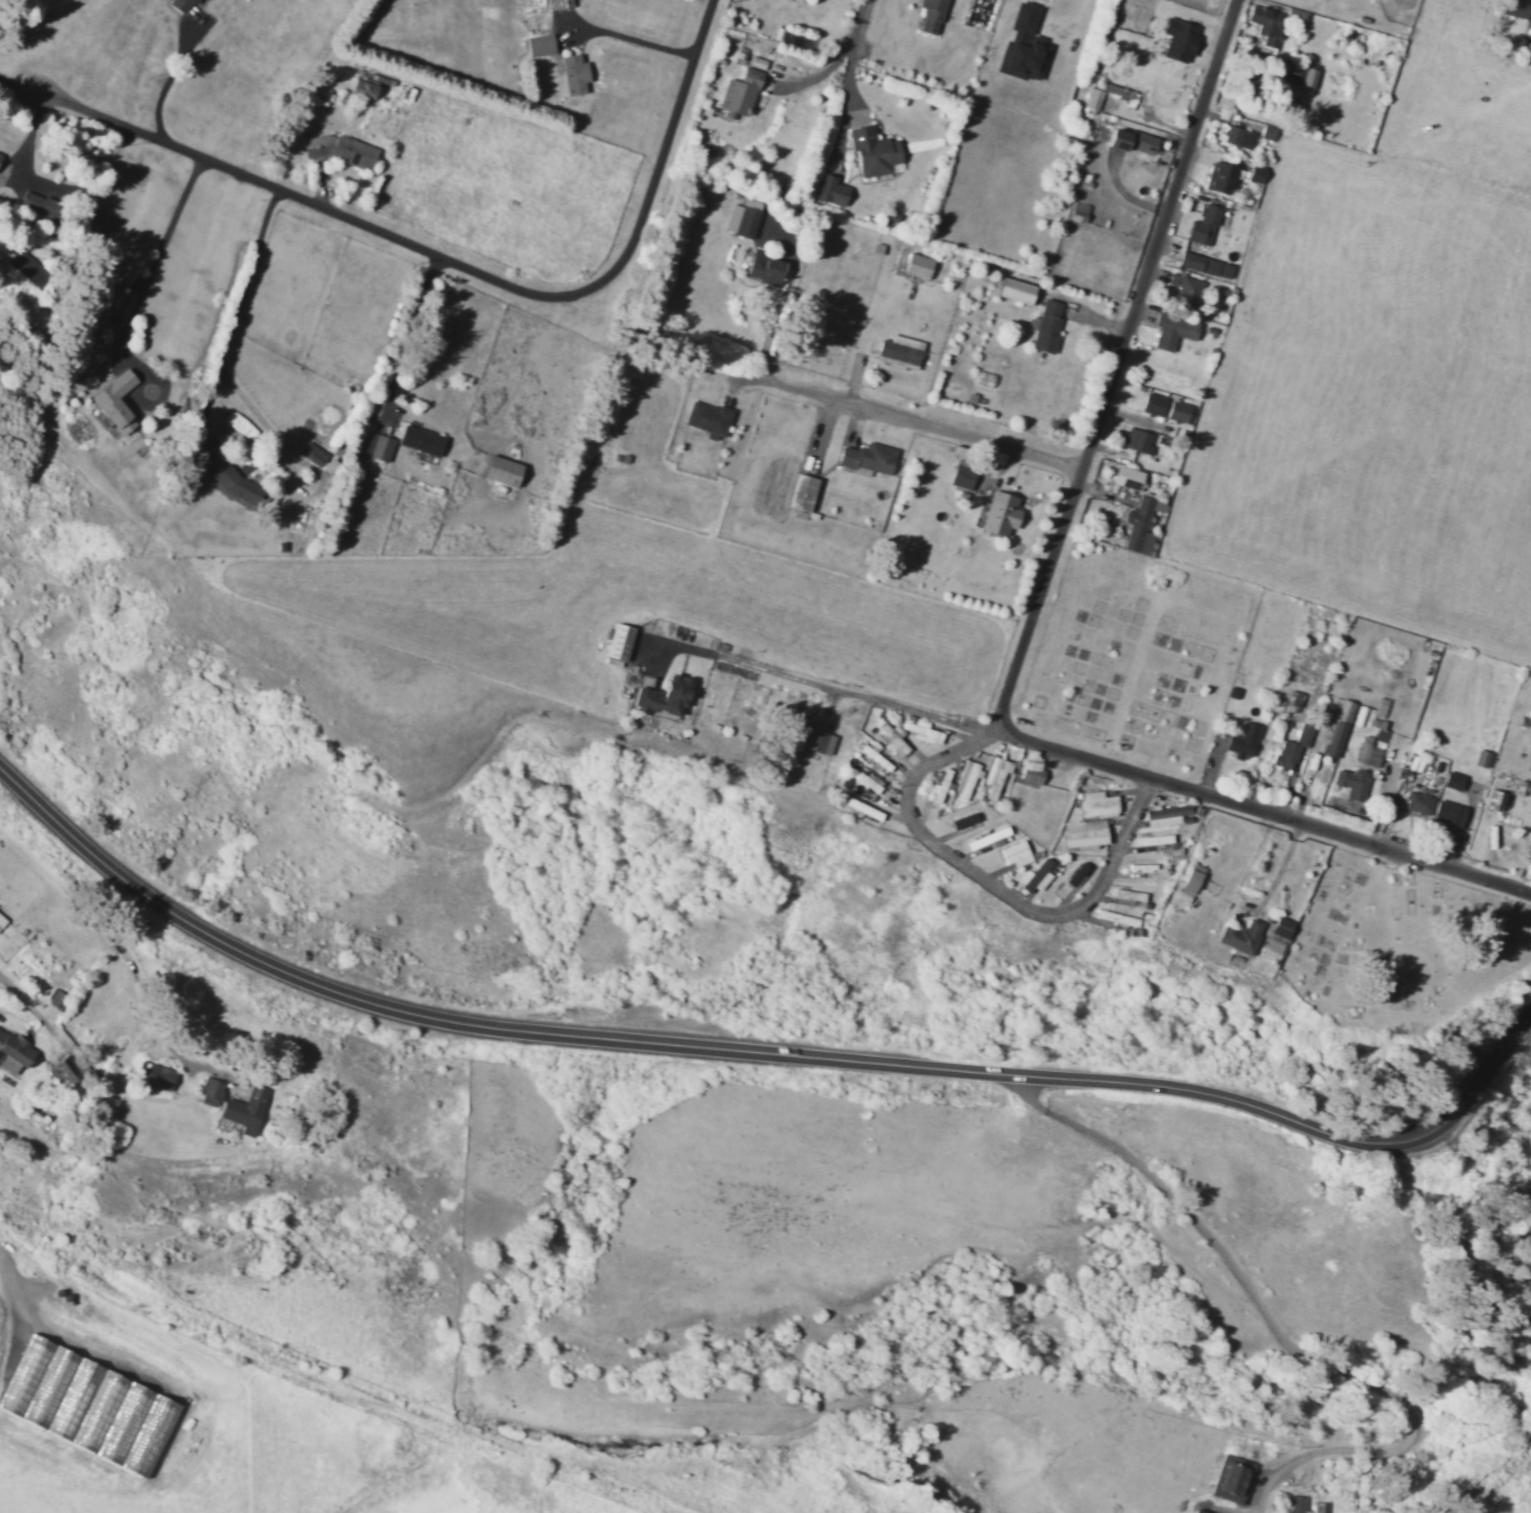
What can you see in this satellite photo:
building: (558, 4)
building: (183, 6)
building: (1515, 8)
building: (930, 15)
building: (1265, 24)
road: (853, 25)
road: (1530, 34)
building: (1178, 40)
building: (538, 45)
building: (1022, 46)
building: (573, 74)
building: (1300, 75)
building: (361, 87)
building: (739, 93)
building: (1100, 95)
building: (1267, 132)
building: (1238, 137)
building: (1132, 141)
building: (342, 150)
building: (872, 152)
building: (1255, 173)
building: (1218, 178)
building: (829, 191)
building: (37, 204)
building: (1077, 212)
building: (743, 218)
building: (1202, 226)
road: (441, 258)
building: (917, 265)
building: (1204, 266)
building: (763, 268)
building: (28, 269)
road: (71, 289)
building: (1015, 290)
building: (1185, 290)
building: (120, 303)
building: (1047, 326)
building: (1172, 330)
building: (899, 350)
road: (1169, 354)
building: (115, 402)
building: (1152, 404)
building: (1177, 411)
building: (707, 419)
road: (918, 421)
building: (420, 440)
building: (1137, 441)
building: (378, 447)
building: (312, 454)
building: (866, 458)
building: (328, 467)
building: (501, 471)
building: (961, 477)
building: (1127, 478)
building: (801, 492)
building: (999, 514)
building: (1140, 524)
road: (1029, 625)
building: (617, 642)
park: (1131, 654)
road: (864, 694)
building: (664, 696)
building: (1360, 716)
building: (1338, 728)
building: (925, 733)
building: (1380, 735)
building: (892, 739)
building: (813, 740)
building: (1242, 741)
building: (1291, 748)
building: (1367, 752)
building: (875, 758)
building: (1481, 758)
building: (994, 775)
building: (1031, 775)
building: (965, 779)
building: (865, 780)
building: (1452, 780)
building: (1351, 783)
building: (940, 787)
building: (1495, 800)
building: (1417, 803)
building: (1098, 804)
building: (1448, 813)
building: (1165, 815)
building: (962, 821)
building: (1083, 833)
building: (986, 838)
building: (1015, 854)
building: (1075, 874)
building: (1035, 877)
building: (1192, 878)
road: (992, 882)
building: (1128, 895)
building: (1116, 918)
building: (2, 921)
building: (1241, 937)
building: (1276, 939)
park: (1400, 951)
building: (56, 999)
road: (27, 1003)
road: (759, 1051)
building: (13, 1052)
building: (69, 1067)
building: (155, 1075)
building: (210, 1092)
building: (245, 1109)
building: (1230, 1478)
building: (1294, 1505)

